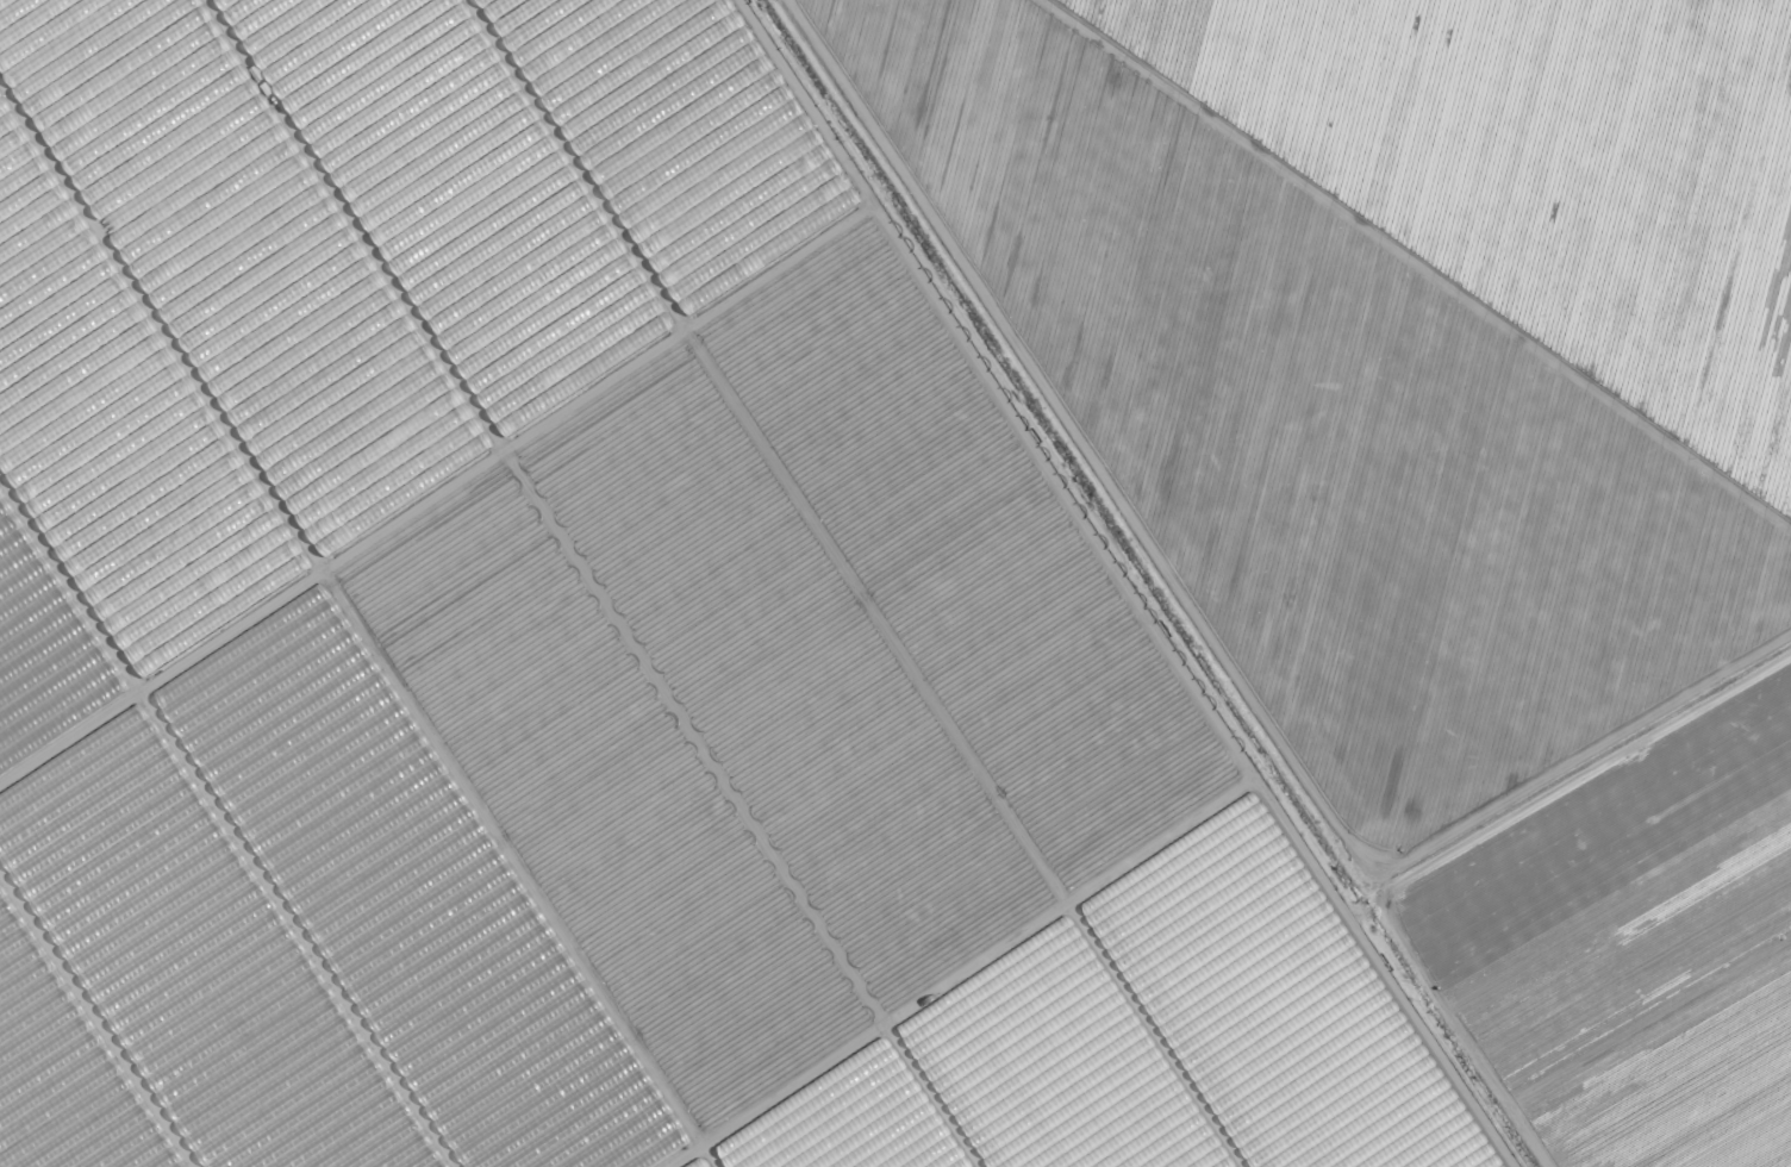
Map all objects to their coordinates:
crop: (895, 583)

